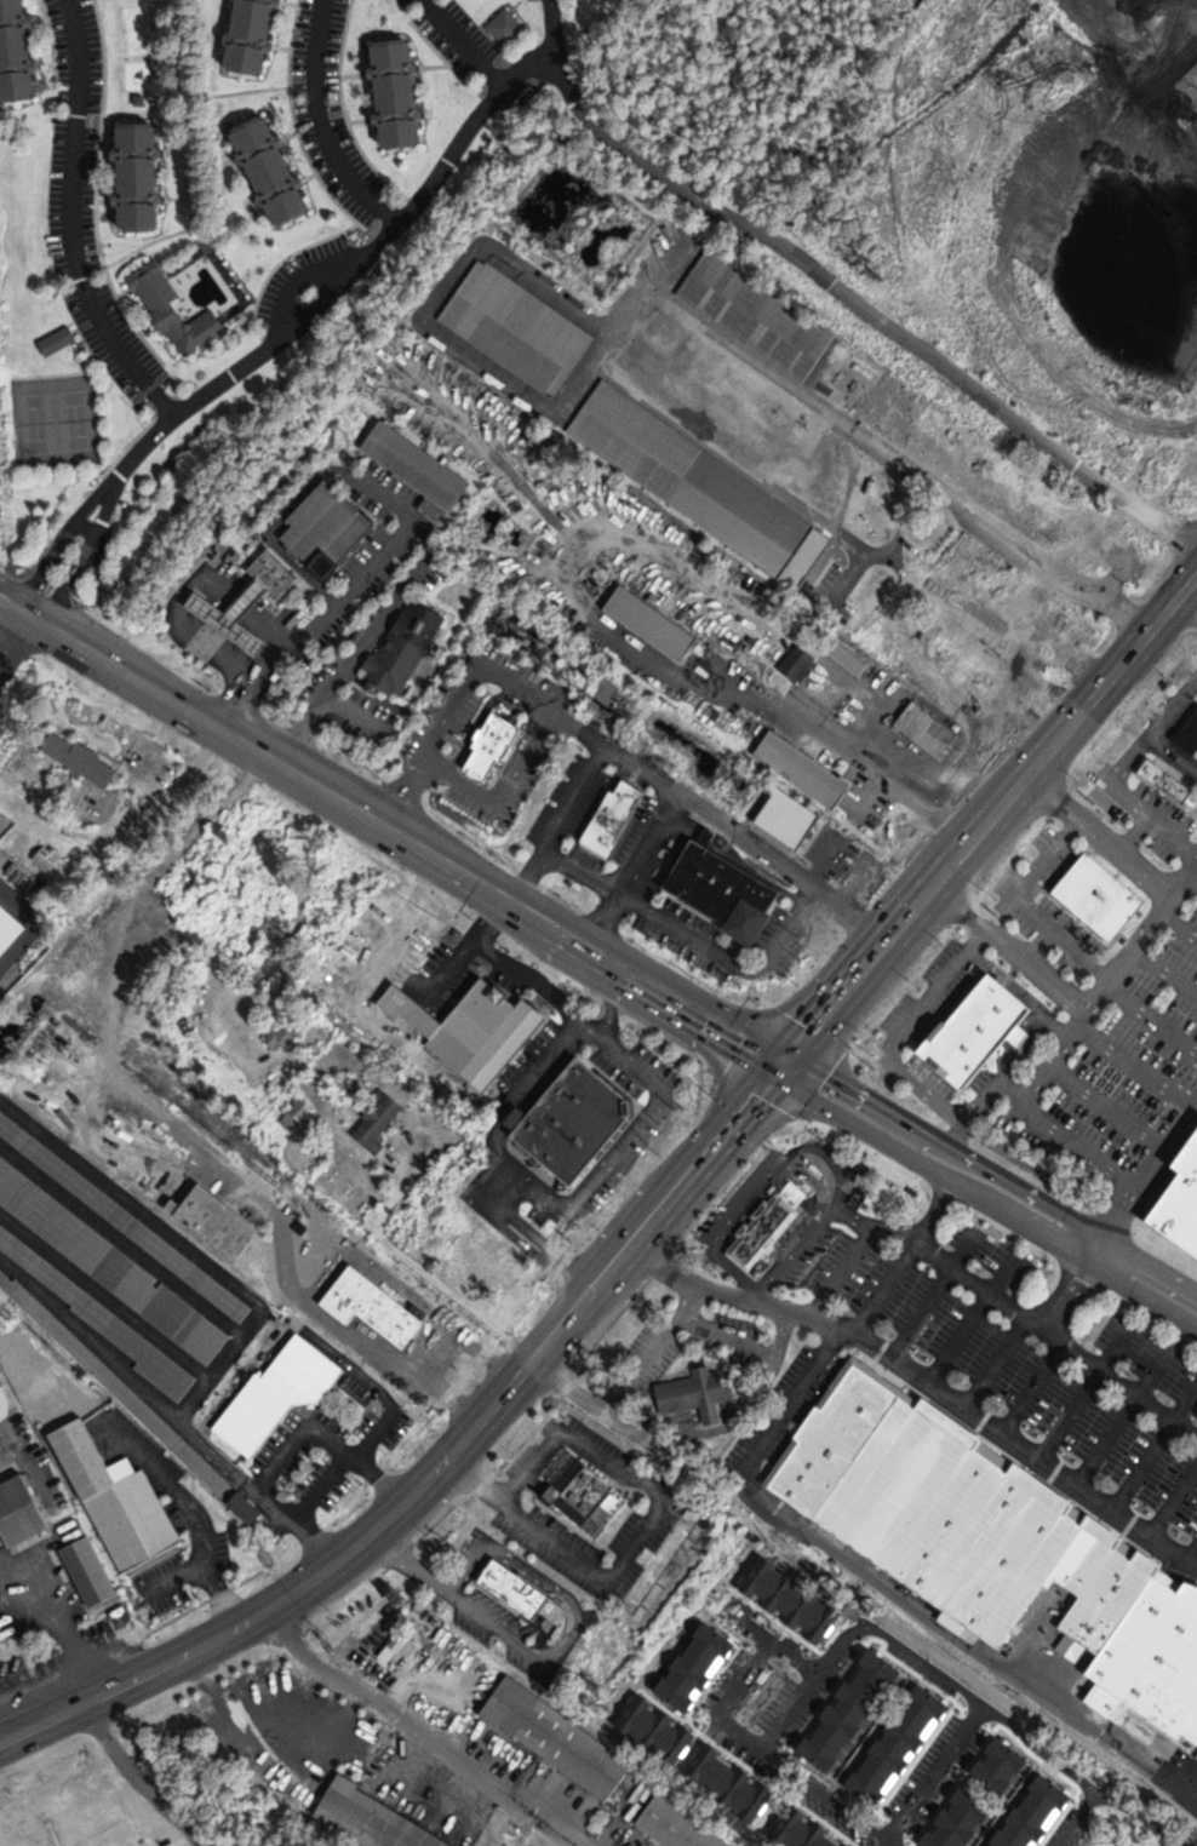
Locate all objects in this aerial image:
building: (504, 25)
road: (551, 25)
building: (247, 35)
road: (465, 42)
building: (13, 52)
building: (1180, 65)
road: (529, 67)
building: (393, 91)
road: (321, 125)
road: (623, 147)
building: (268, 170)
building: (133, 176)
road: (71, 220)
building: (1099, 269)
road: (302, 274)
building: (157, 303)
building: (1086, 306)
building: (752, 314)
building: (516, 327)
building: (55, 340)
road: (265, 349)
building: (729, 377)
road: (962, 379)
park: (56, 420)
building: (1190, 464)
building: (418, 465)
parking lot: (396, 482)
road: (525, 486)
building: (695, 486)
building: (852, 487)
parking lot: (366, 497)
road: (390, 509)
road: (446, 518)
road: (382, 521)
road: (273, 526)
building: (330, 528)
building: (1101, 539)
parking lot: (417, 541)
parking lot: (371, 568)
building: (269, 572)
road: (577, 577)
building: (998, 580)
road: (214, 585)
parking lot: (253, 590)
road: (343, 600)
road: (1189, 601)
road: (237, 604)
road: (17, 608)
building: (229, 614)
building: (654, 624)
road: (265, 626)
parking lot: (333, 630)
road: (190, 631)
road: (71, 640)
road: (17, 644)
building: (850, 659)
building: (800, 663)
building: (397, 665)
building: (955, 665)
parking lot: (527, 671)
road: (1111, 676)
road: (167, 696)
road: (327, 699)
road: (520, 700)
road: (865, 707)
road: (1174, 707)
road: (451, 710)
parking lot: (365, 715)
parking lot: (443, 715)
building: (929, 729)
road: (578, 730)
building: (1185, 735)
road: (826, 739)
road: (242, 741)
building: (487, 743)
parking lot: (635, 749)
road: (1174, 752)
road: (527, 755)
building: (81, 759)
road: (978, 759)
parking lot: (904, 764)
building: (807, 770)
parking lot: (528, 780)
building: (1164, 780)
road: (462, 781)
road: (323, 789)
road: (406, 793)
road: (870, 798)
road: (1132, 798)
parking lot: (569, 799)
parking lot: (471, 803)
road: (998, 808)
road: (596, 812)
road: (712, 815)
building: (784, 818)
building: (614, 819)
parking lot: (778, 821)
road: (560, 825)
parking lot: (635, 829)
road: (686, 829)
road: (1134, 833)
road: (1098, 835)
building: (710, 837)
road: (709, 842)
building: (834, 850)
building: (46, 859)
parking lot: (590, 859)
road: (451, 866)
road: (760, 873)
parking lot: (864, 873)
road: (1190, 882)
road: (848, 887)
building: (728, 893)
building: (1095, 895)
road: (1025, 904)
road: (698, 912)
building: (7, 927)
road: (1178, 927)
road: (870, 935)
road: (695, 939)
parking lot: (729, 940)
road: (195, 942)
building: (160, 946)
road: (1042, 946)
road: (1016, 951)
road: (894, 952)
road: (649, 965)
road: (1164, 971)
road: (1020, 990)
road: (632, 991)
road: (1151, 1017)
traffic signals: (798, 1021)
building: (464, 1028)
building: (973, 1032)
building: (283, 1037)
road: (888, 1038)
road: (1065, 1042)
road: (1026, 1047)
traffic signals: (734, 1051)
road: (791, 1051)
road: (769, 1055)
road: (1135, 1067)
road: (795, 1070)
traffic signals: (827, 1073)
road: (773, 1074)
road: (992, 1089)
traffic signals: (768, 1101)
road: (148, 1102)
road: (876, 1102)
road: (1107, 1106)
building: (380, 1119)
building: (568, 1122)
road: (709, 1128)
road: (870, 1133)
road: (1150, 1170)
road: (1026, 1191)
building: (1179, 1199)
road: (678, 1205)
building: (122, 1217)
building: (211, 1220)
road: (1021, 1222)
building: (767, 1223)
road: (870, 1226)
road: (619, 1233)
road: (535, 1239)
road: (1095, 1249)
building: (109, 1263)
road: (1150, 1265)
road: (840, 1271)
road: (1142, 1294)
road: (932, 1295)
road: (1065, 1295)
road: (573, 1298)
building: (380, 1309)
building: (105, 1319)
road: (973, 1320)
road: (1056, 1338)
road: (440, 1355)
road: (995, 1365)
building: (110, 1381)
road: (929, 1388)
road: (1032, 1389)
building: (281, 1391)
building: (699, 1392)
road: (1083, 1392)
road: (1123, 1414)
road: (1152, 1449)
building: (586, 1494)
building: (118, 1501)
road: (1172, 1502)
building: (247, 1508)
building: (18, 1510)
road: (820, 1536)
road: (638, 1537)
building: (991, 1546)
road: (1189, 1549)
road: (413, 1561)
road: (468, 1567)
building: (86, 1571)
road: (317, 1577)
building: (515, 1589)
building: (760, 1605)
road: (566, 1640)
building: (800, 1640)
road: (893, 1645)
building: (400, 1646)
building: (852, 1667)
road: (746, 1675)
building: (887, 1681)
road: (985, 1684)
building: (916, 1705)
road: (420, 1730)
building: (946, 1731)
building: (552, 1739)
building: (732, 1741)
building: (985, 1753)
road: (138, 1776)
building: (775, 1782)
road: (1192, 1800)
building: (806, 1806)
building: (374, 1819)
building: (672, 1825)
building: (832, 1827)
building: (1146, 1844)

